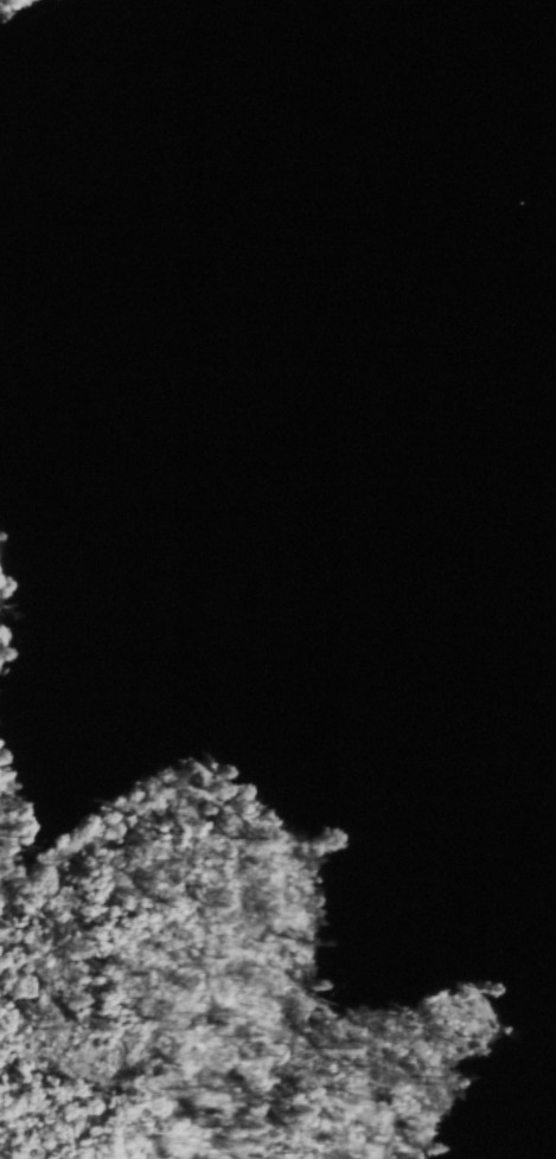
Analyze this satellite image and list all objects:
road: (270, 895)

